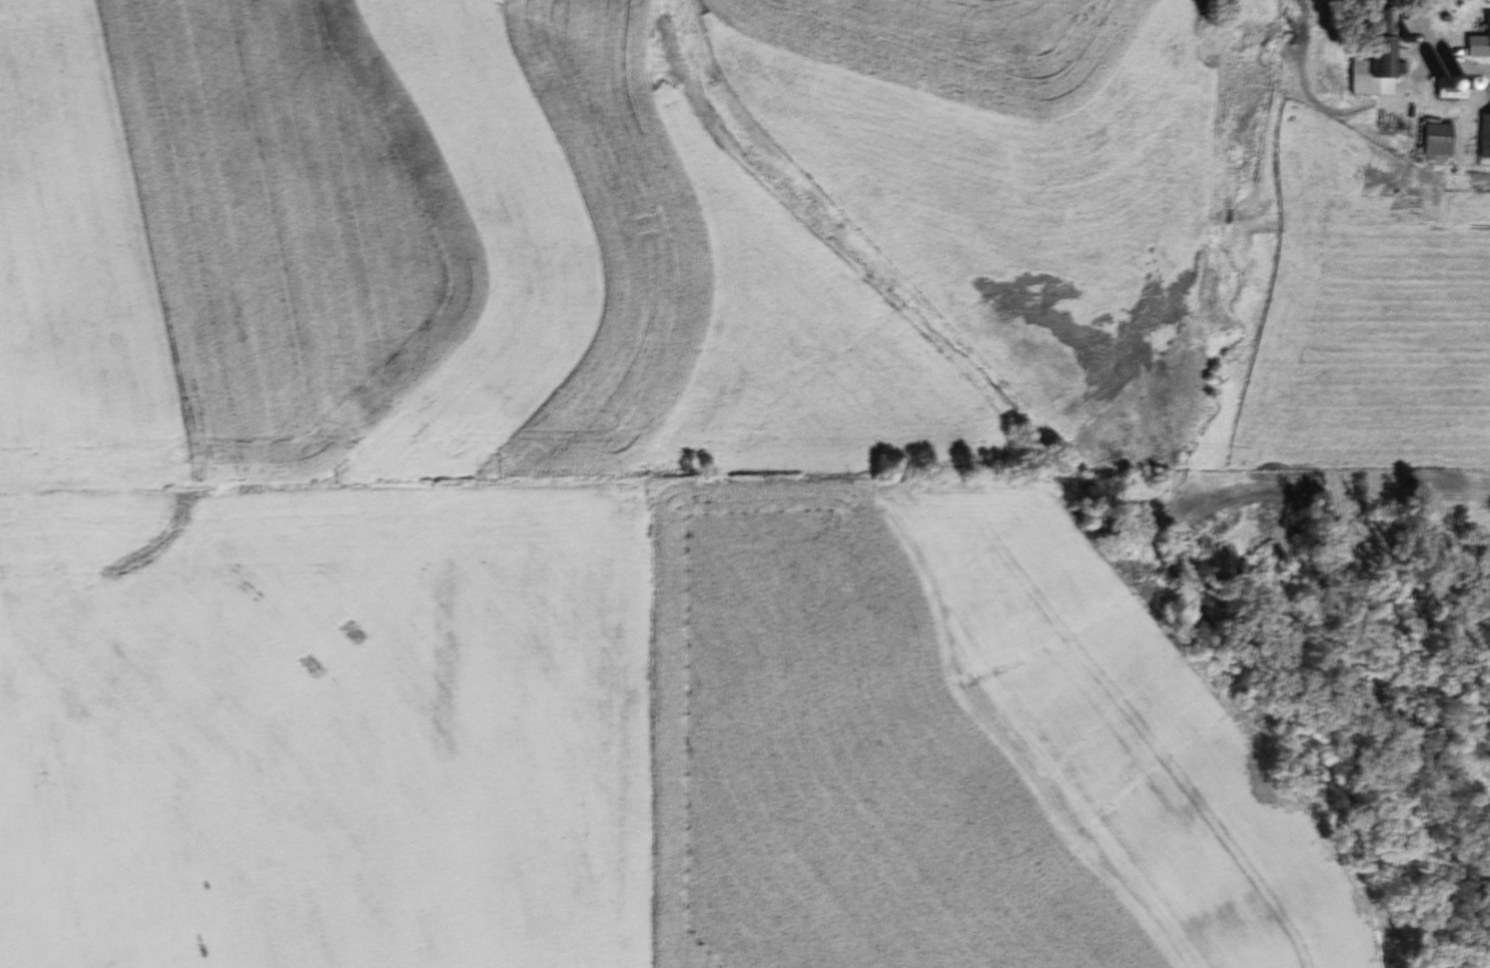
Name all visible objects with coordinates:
building: (1382, 4)
building: (1479, 45)
building: (1370, 80)
building: (1440, 140)

